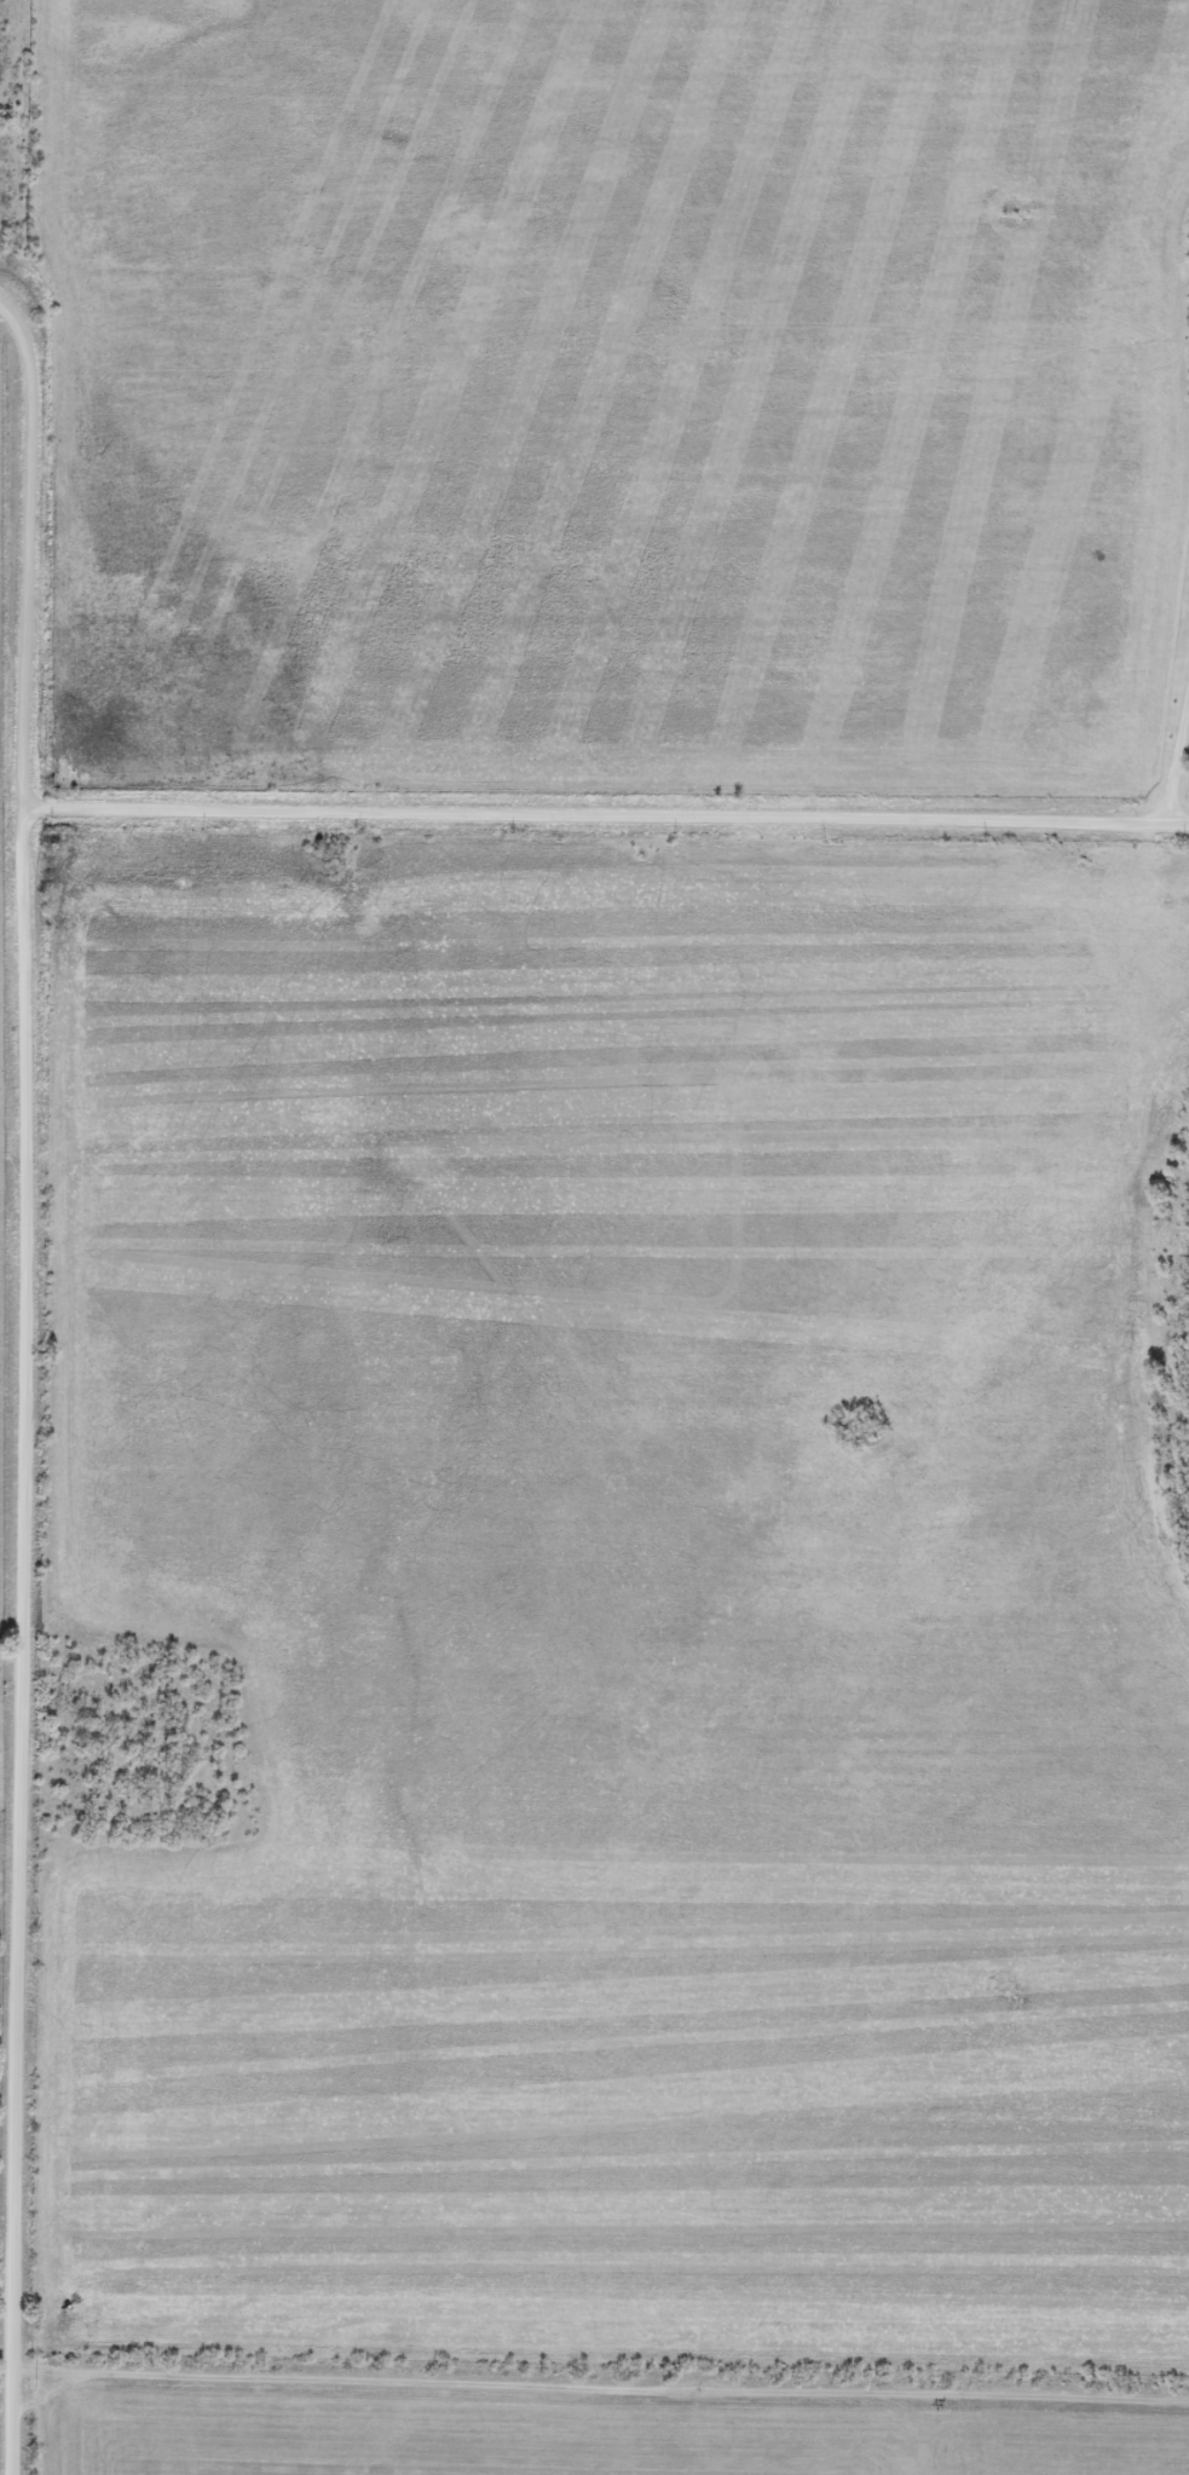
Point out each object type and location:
road: (606, 813)
road: (22, 1385)

